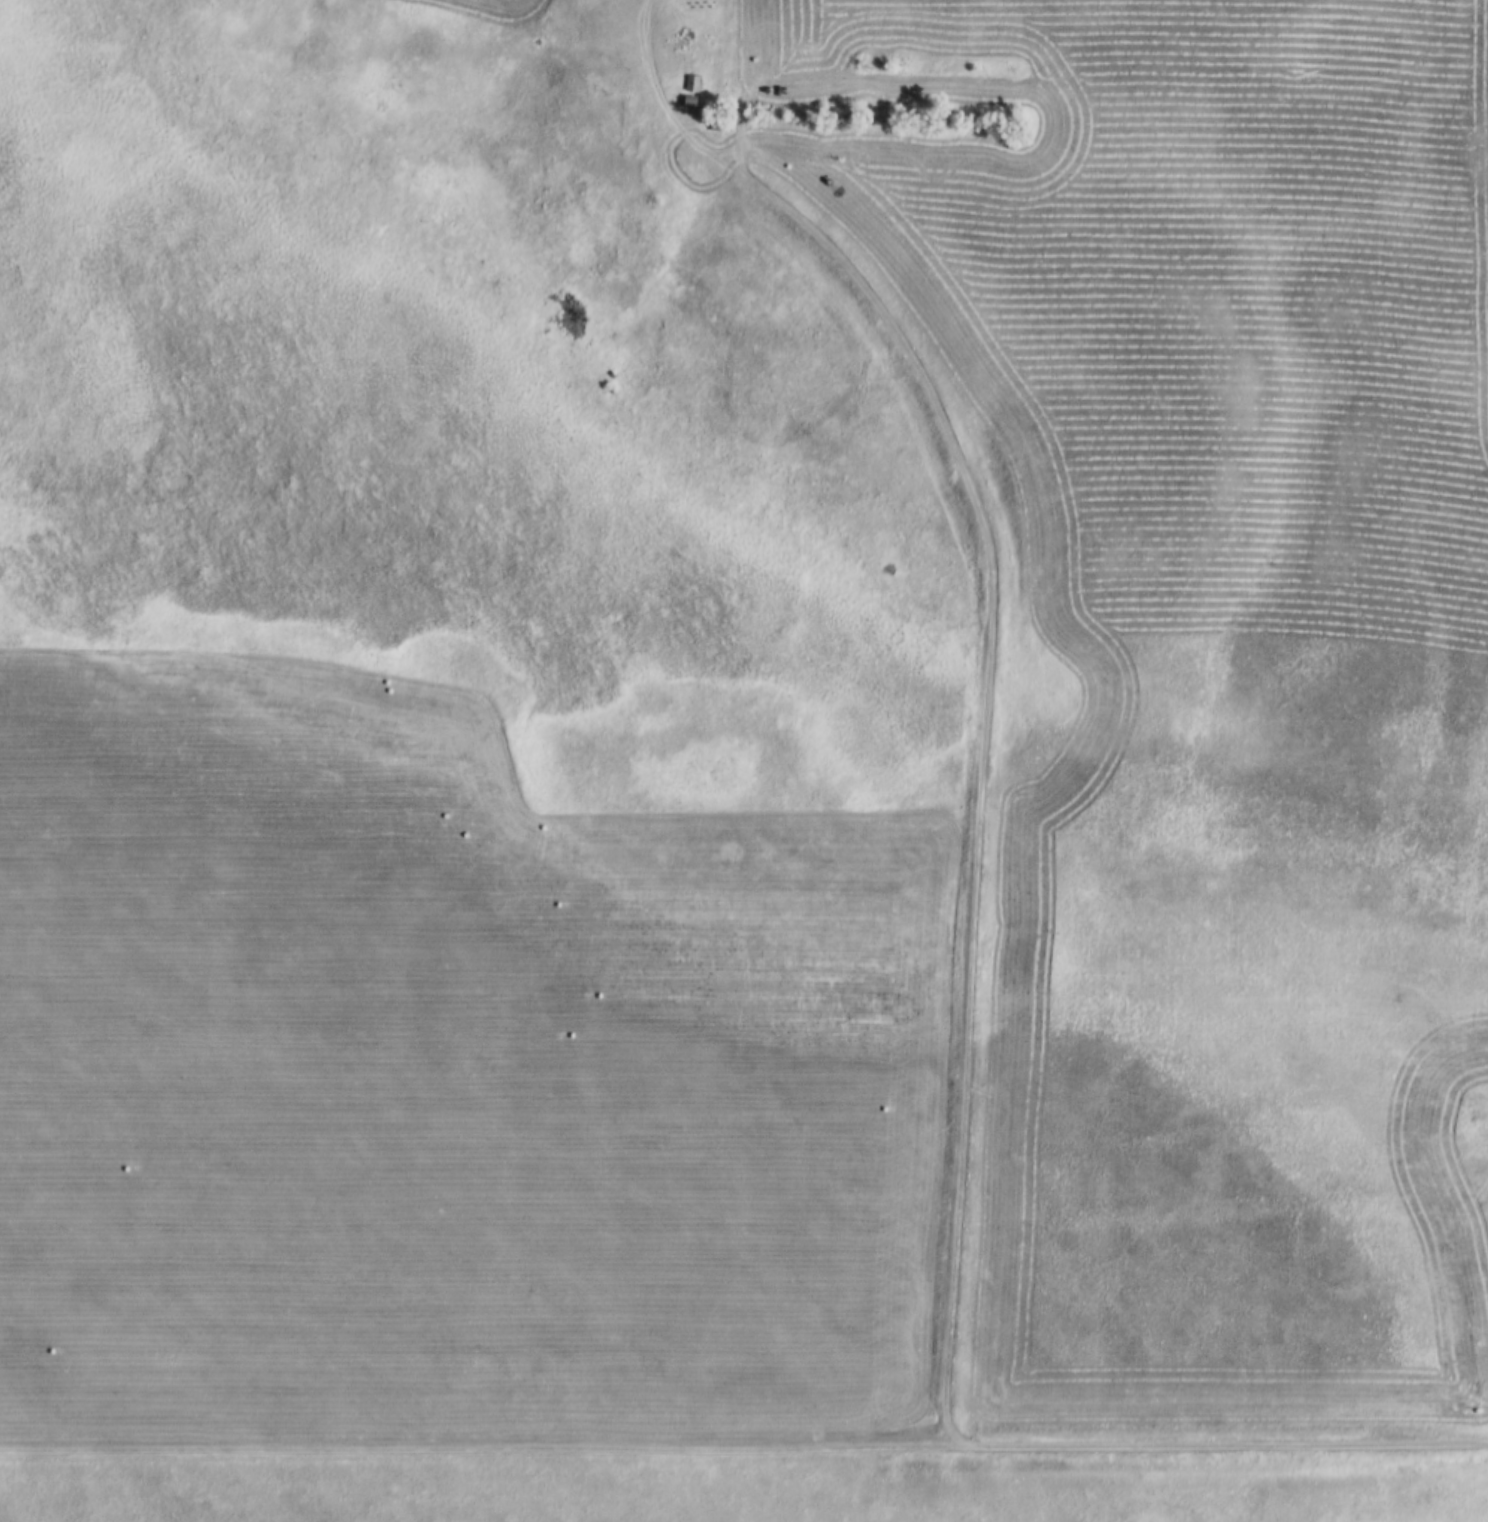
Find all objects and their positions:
building: (688, 85)
building: (687, 103)
building: (1177, 320)
building: (1237, 655)
road: (985, 762)
road: (744, 1447)

